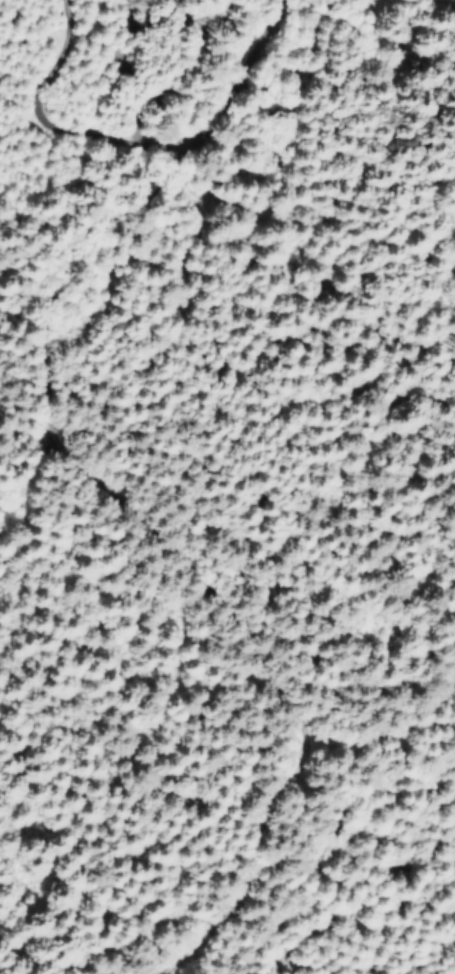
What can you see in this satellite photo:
road: (51, 125)
road: (98, 489)
road: (31, 490)
road: (369, 729)

